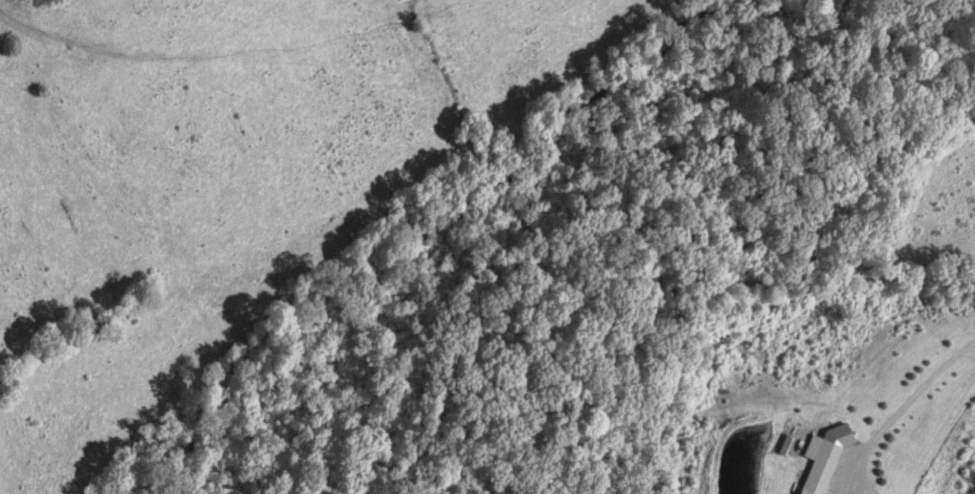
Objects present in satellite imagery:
road: (659, 346)
building: (820, 465)

